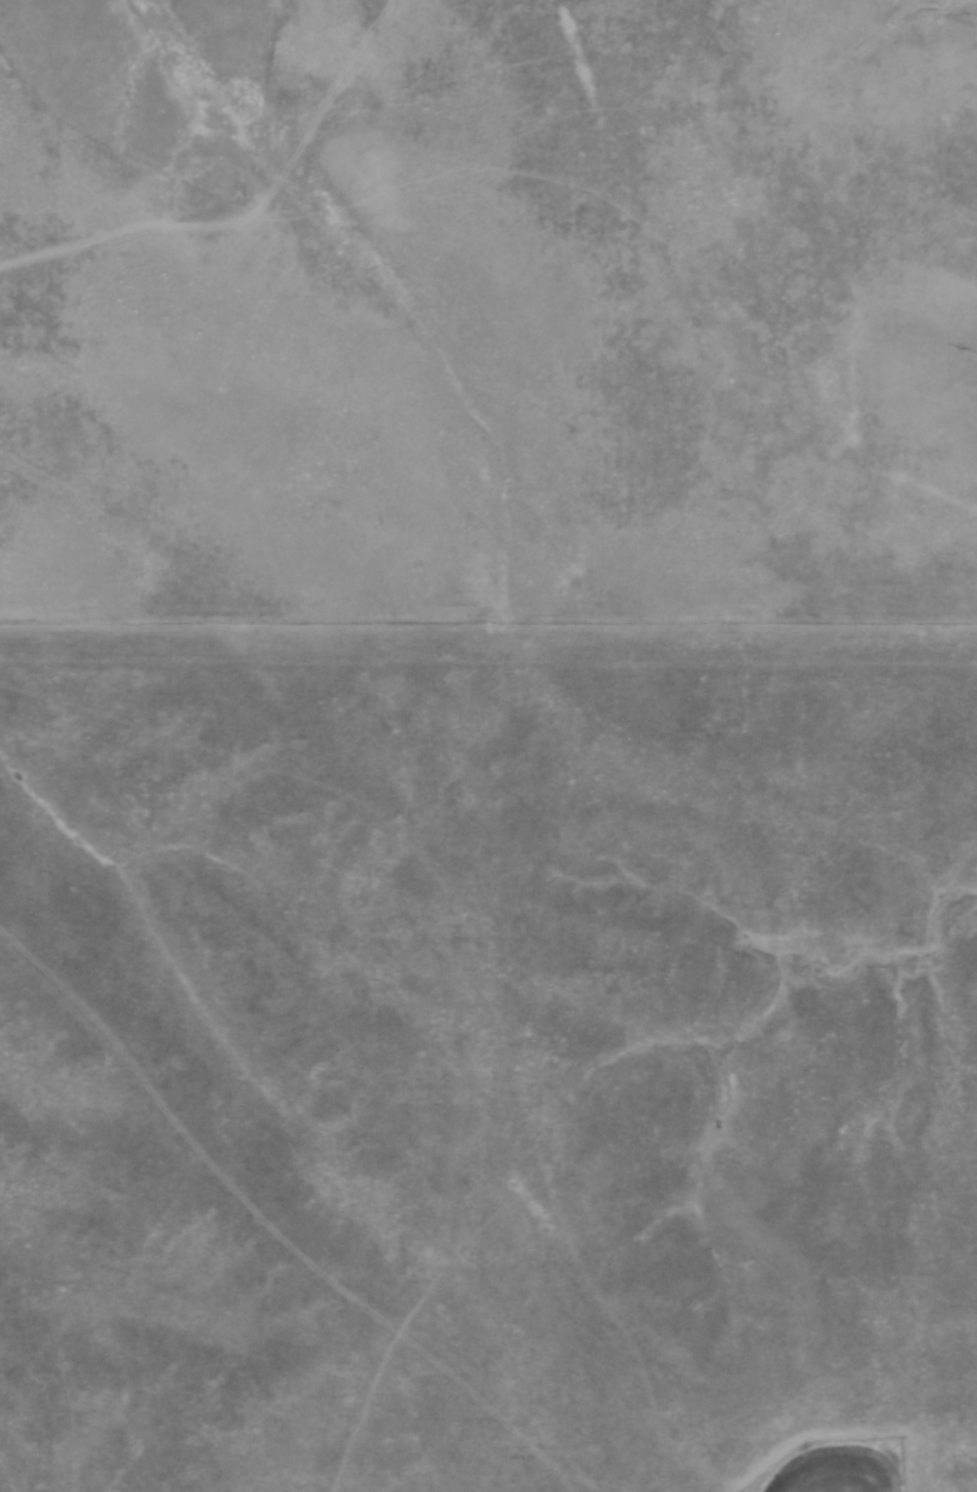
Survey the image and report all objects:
crop: (837, 1471)

